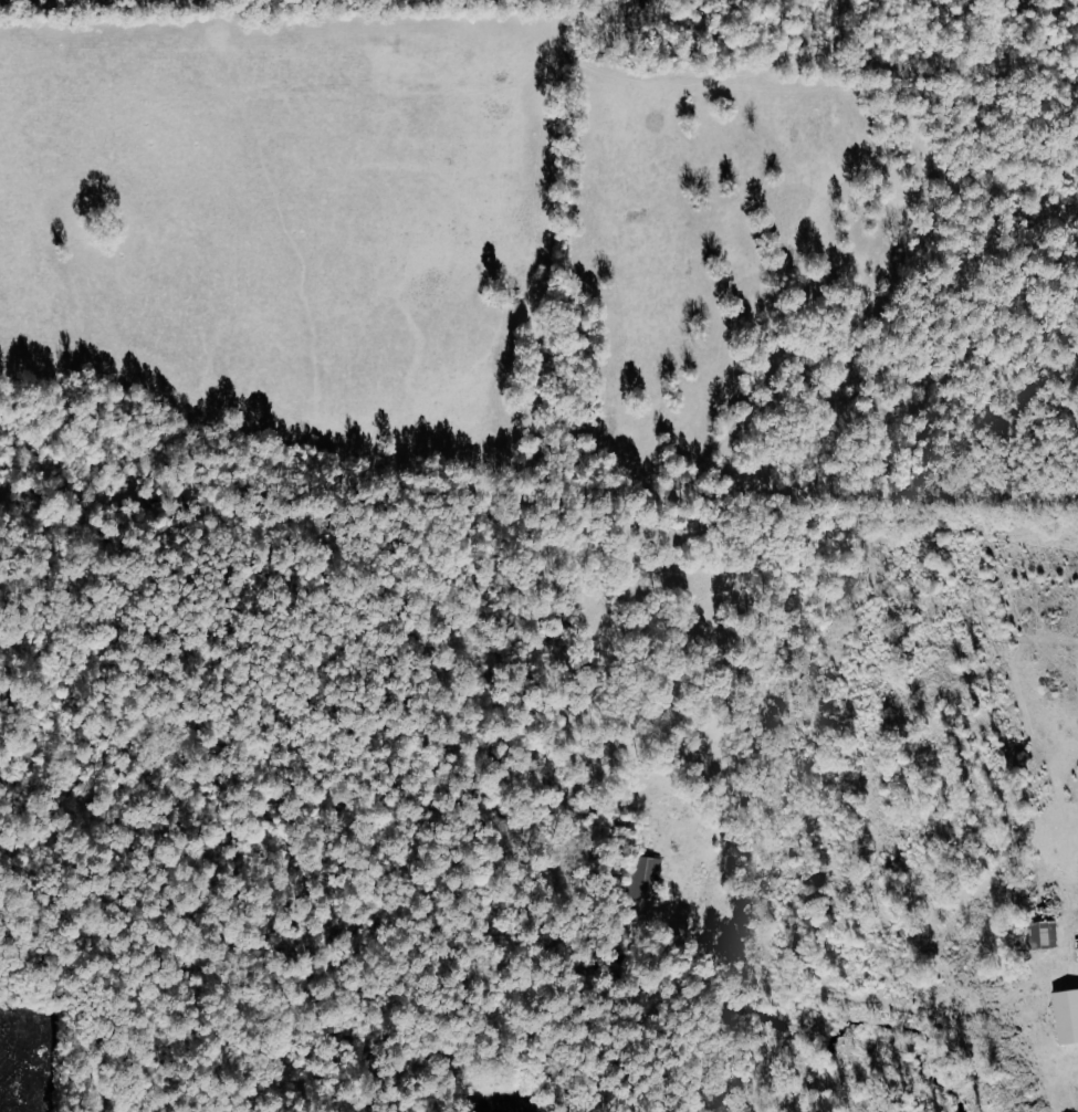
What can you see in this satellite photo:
building: (649, 879)
building: (1042, 934)
building: (1067, 1016)

